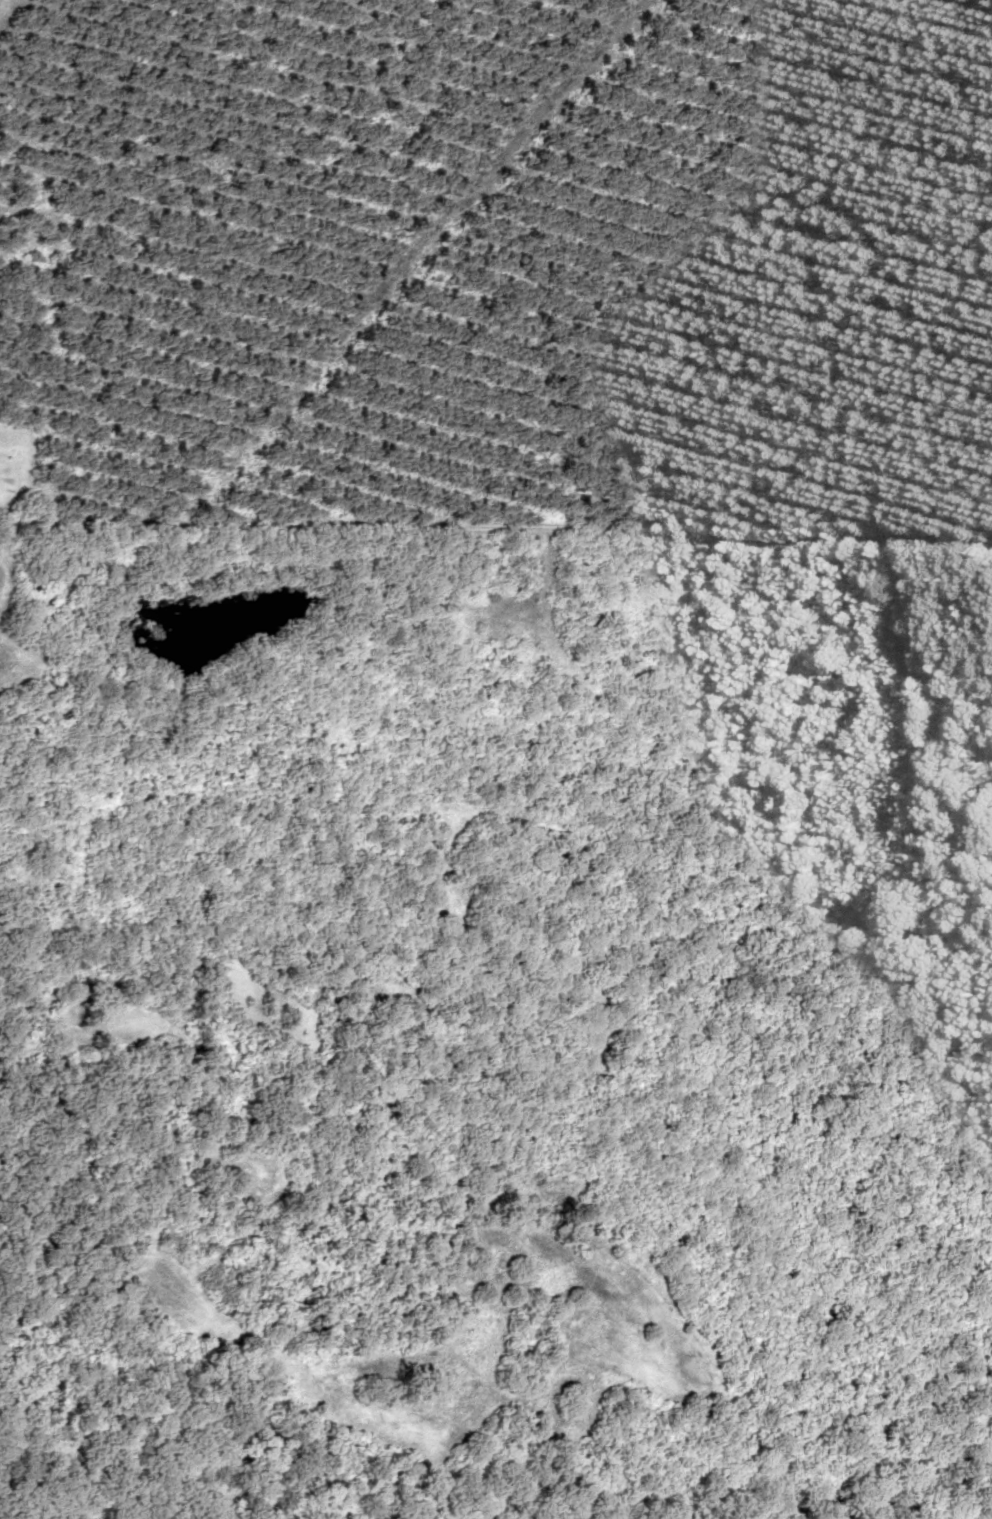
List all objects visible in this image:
road: (344, 348)

